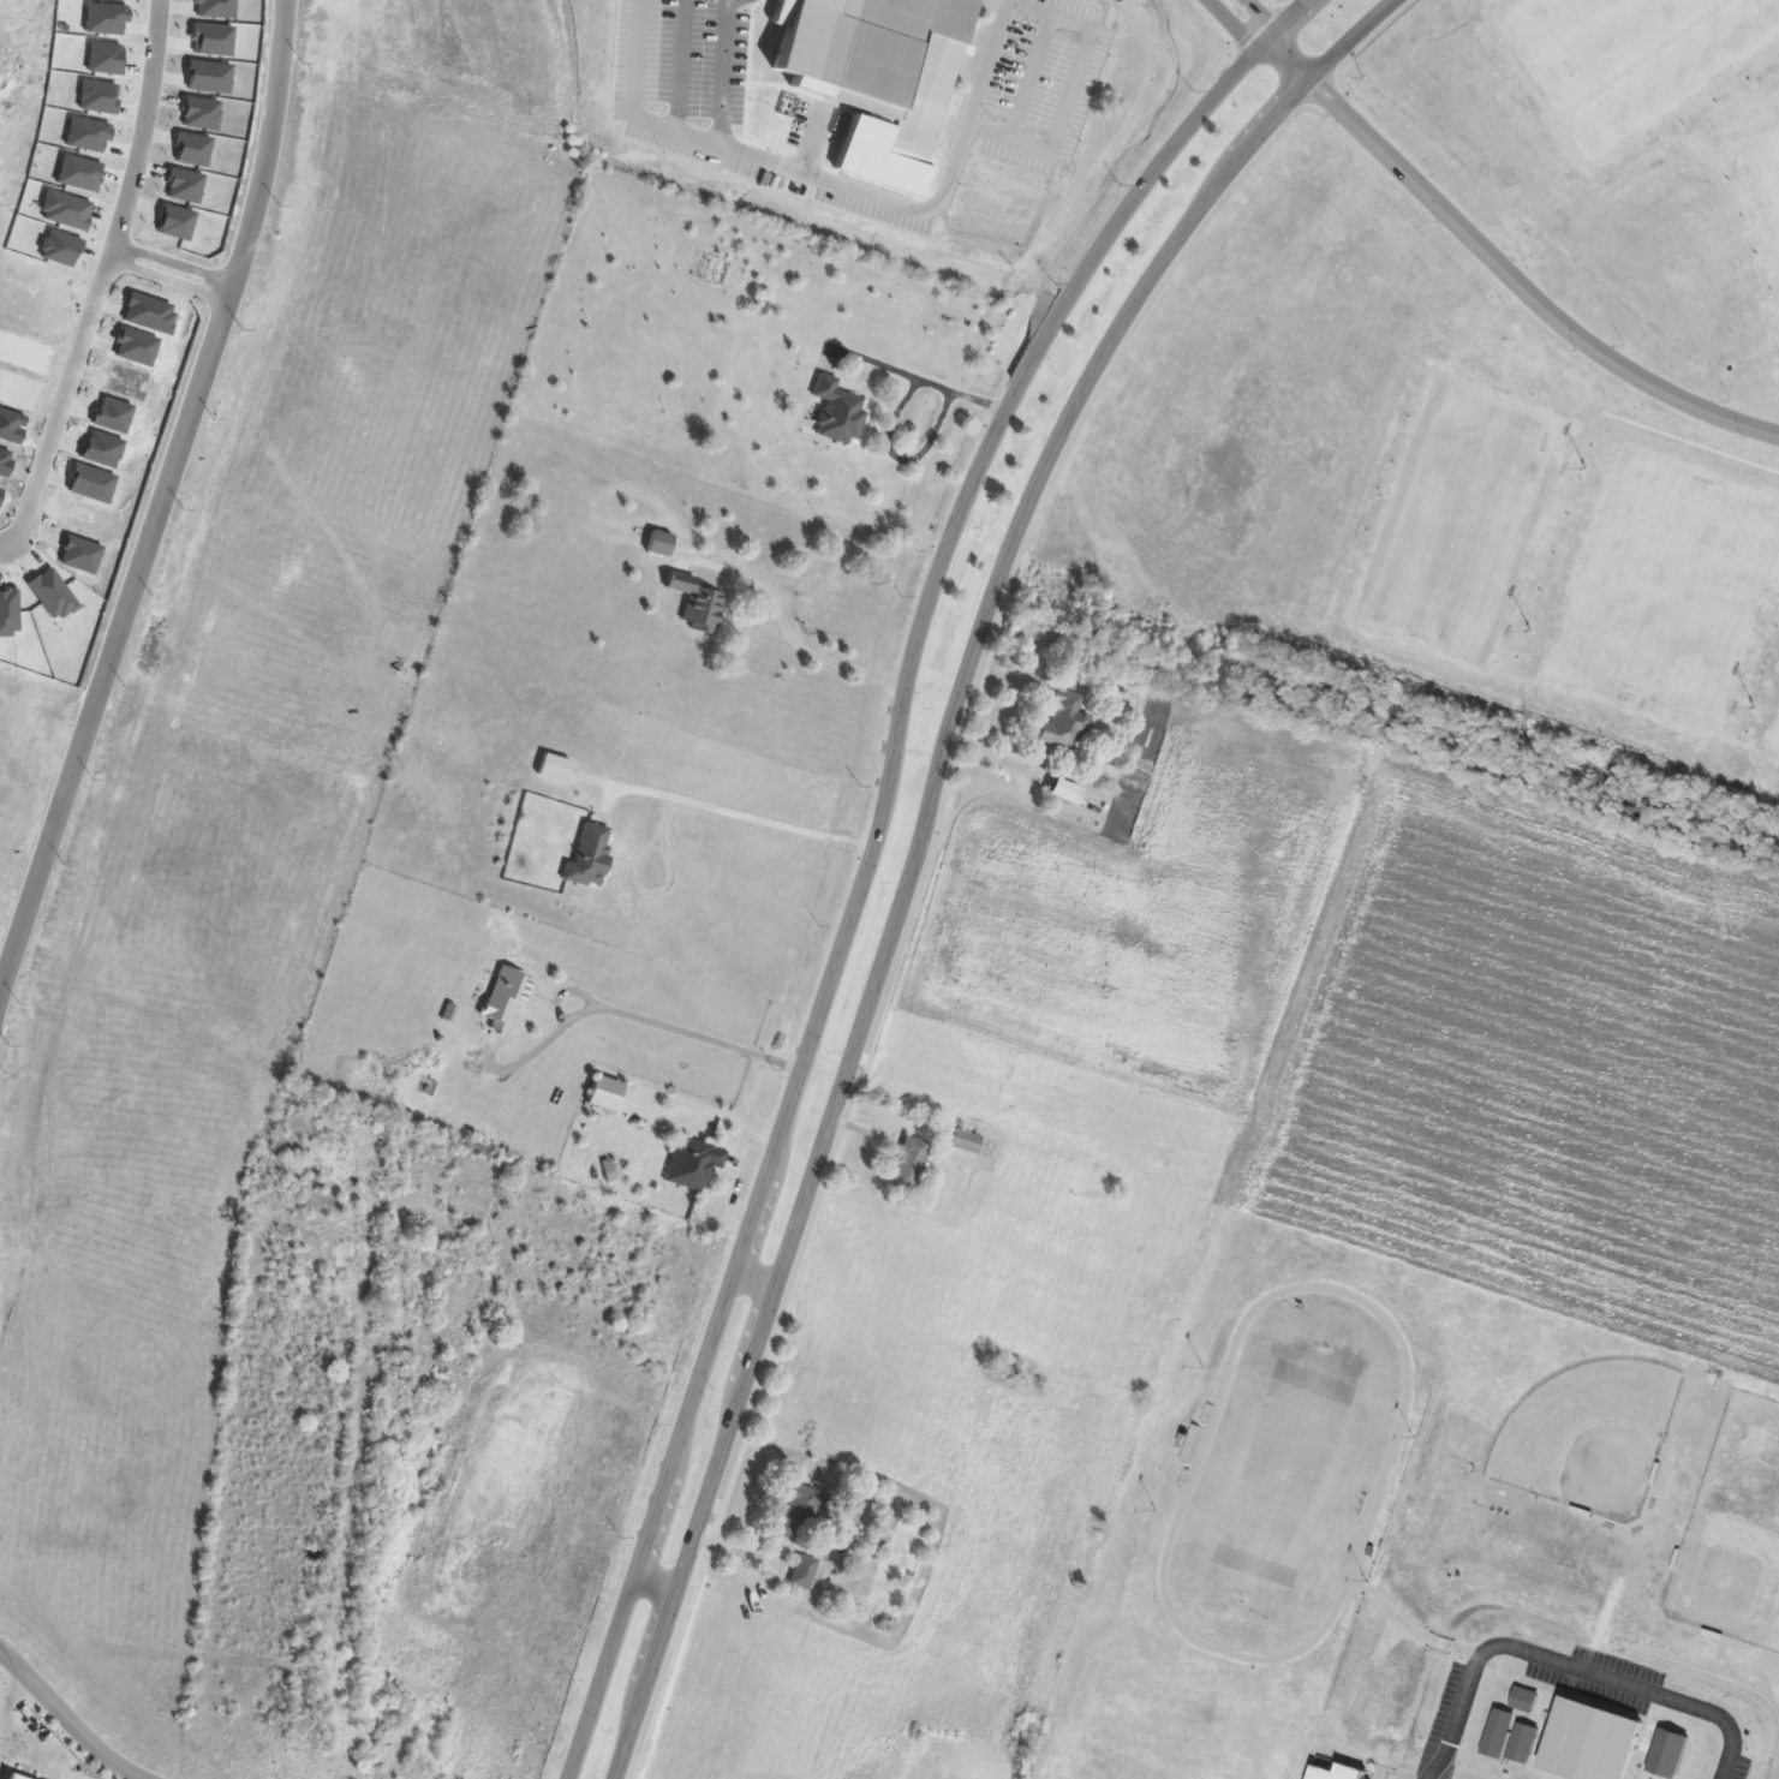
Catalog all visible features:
road: (730, 1)
road: (1244, 20)
road: (1289, 20)
building: (900, 70)
road: (723, 71)
parking lot: (1047, 83)
parking lot: (1035, 84)
road: (1068, 90)
road: (657, 123)
road: (142, 127)
road: (264, 147)
park: (1610, 165)
road: (938, 196)
road: (1502, 268)
road: (171, 271)
road: (65, 398)
building: (837, 411)
road: (894, 420)
road: (6, 543)
building: (659, 543)
building: (696, 603)
road: (788, 629)
road: (113, 633)
building: (1063, 722)
road: (745, 822)
road: (924, 843)
building: (589, 855)
road: (866, 879)
building: (507, 997)
road: (689, 1031)
building: (604, 1093)
building: (965, 1141)
building: (693, 1162)
building: (911, 1164)
road: (757, 1284)
building: (801, 1512)
building: (805, 1571)
road: (658, 1583)
road: (1581, 1668)
road: (13, 1688)
building: (1524, 1701)
road: (72, 1719)
building: (1498, 1733)
building: (1589, 1742)
building: (1523, 1743)

